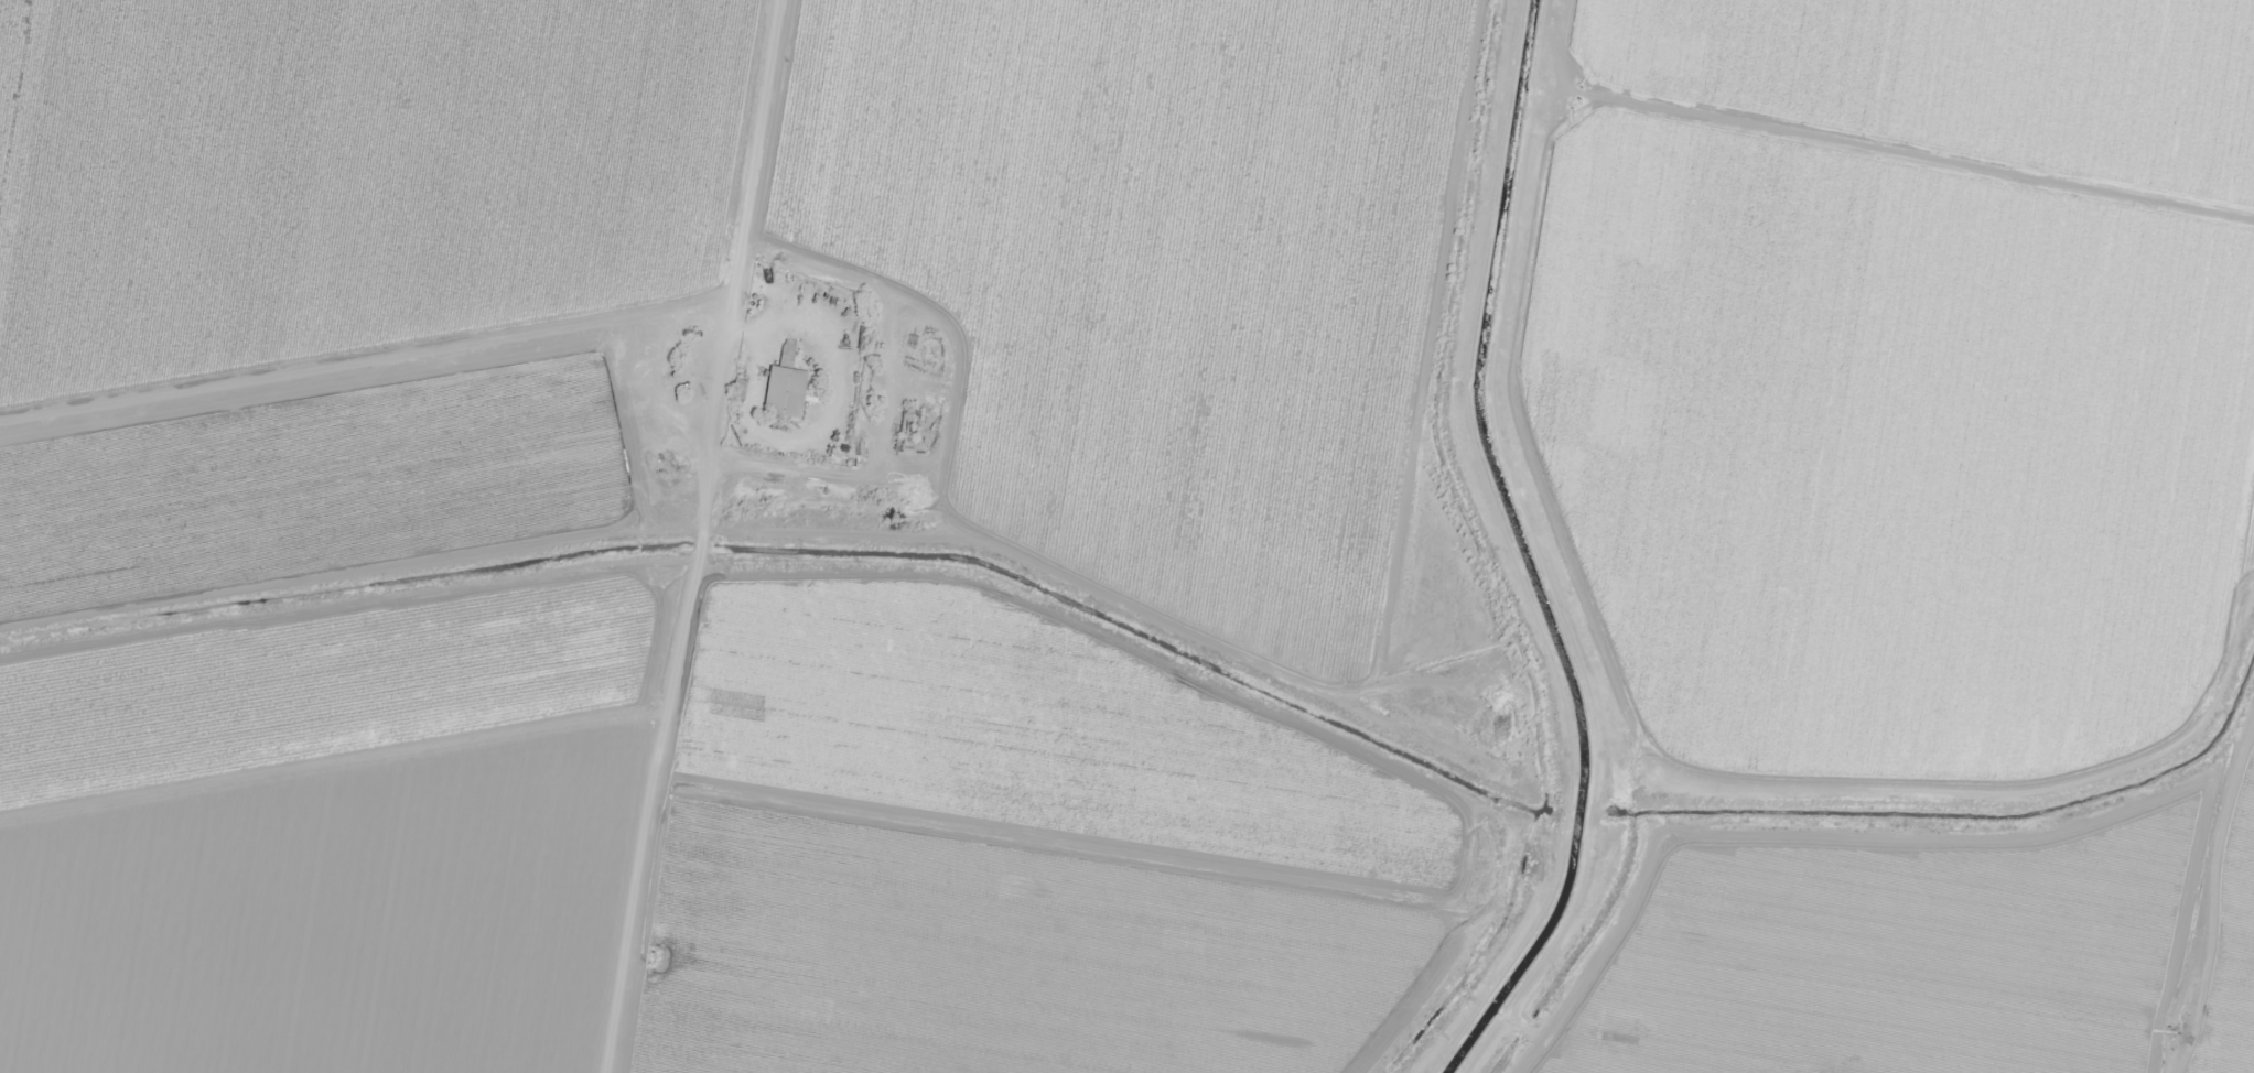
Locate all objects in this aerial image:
building: (693, 371)
building: (786, 391)
road: (718, 536)
road: (1568, 544)

